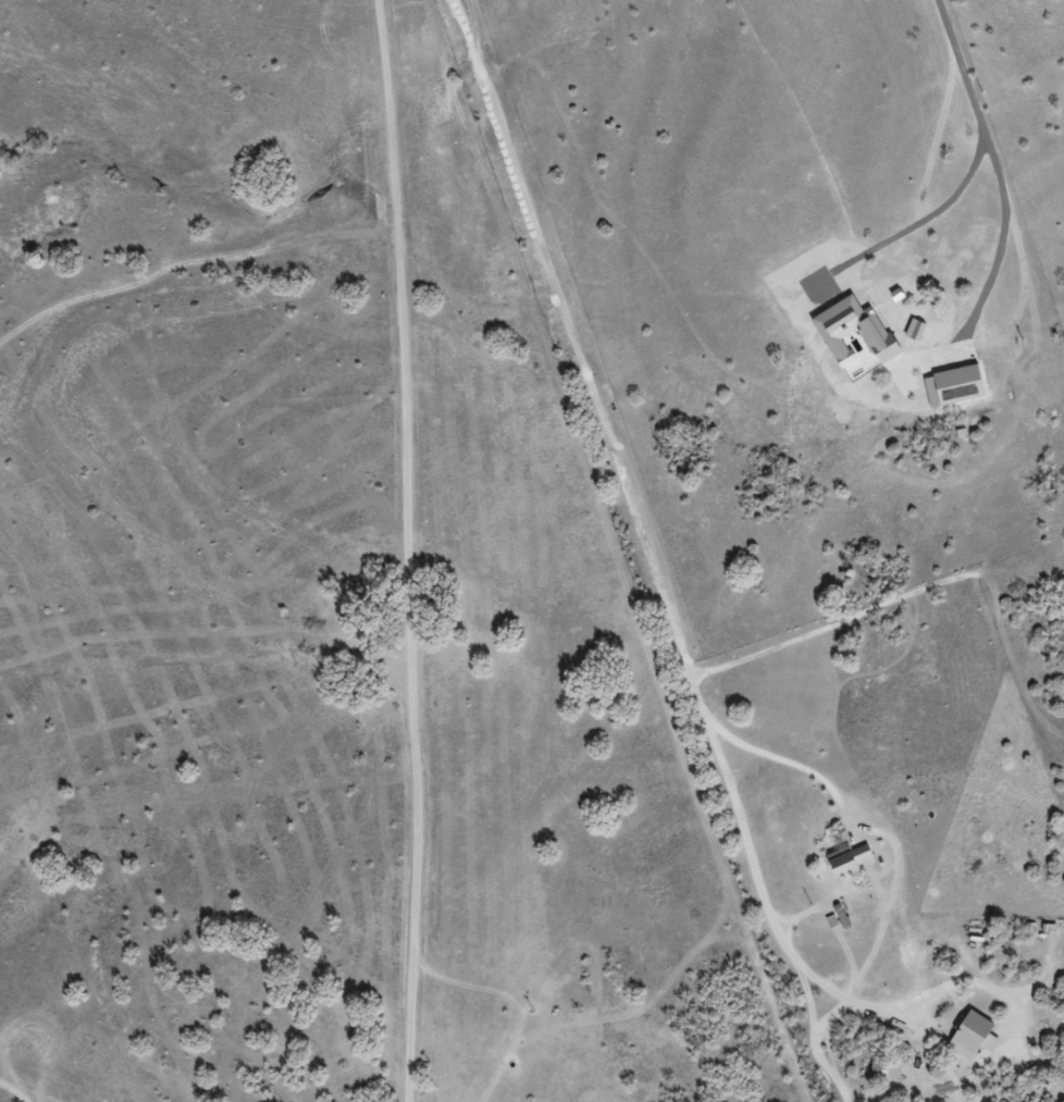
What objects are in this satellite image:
road: (634, 512)
road: (406, 550)
building: (844, 860)
road: (826, 1020)
building: (968, 1036)
building: (882, 1070)

